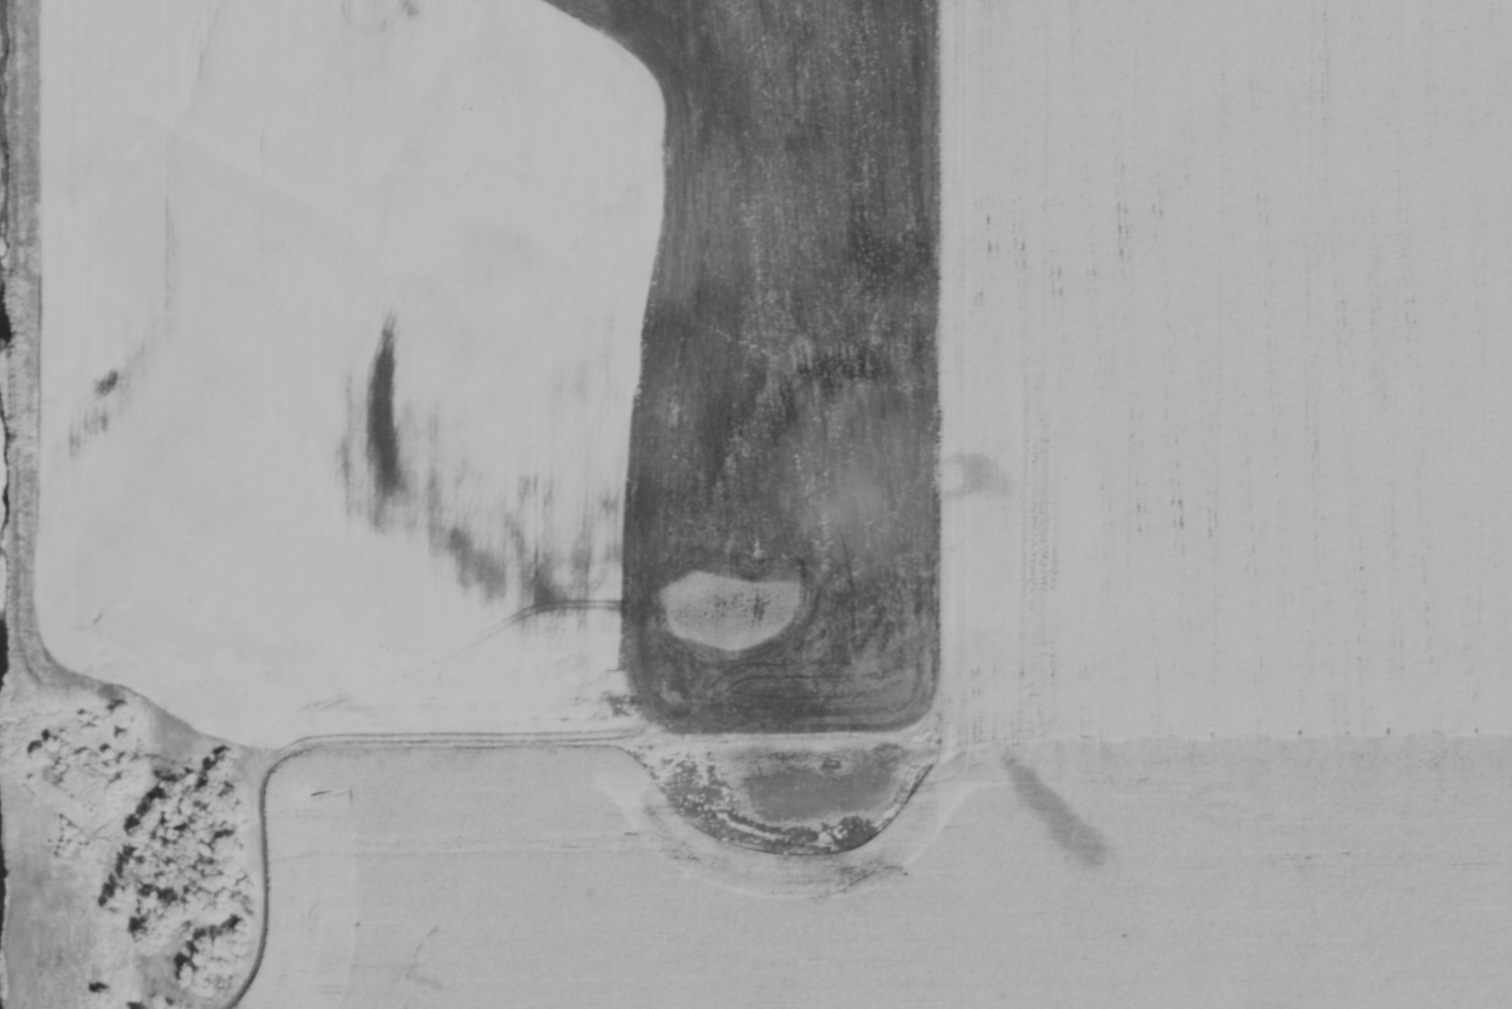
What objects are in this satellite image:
river: (137, 349)
river: (129, 796)

